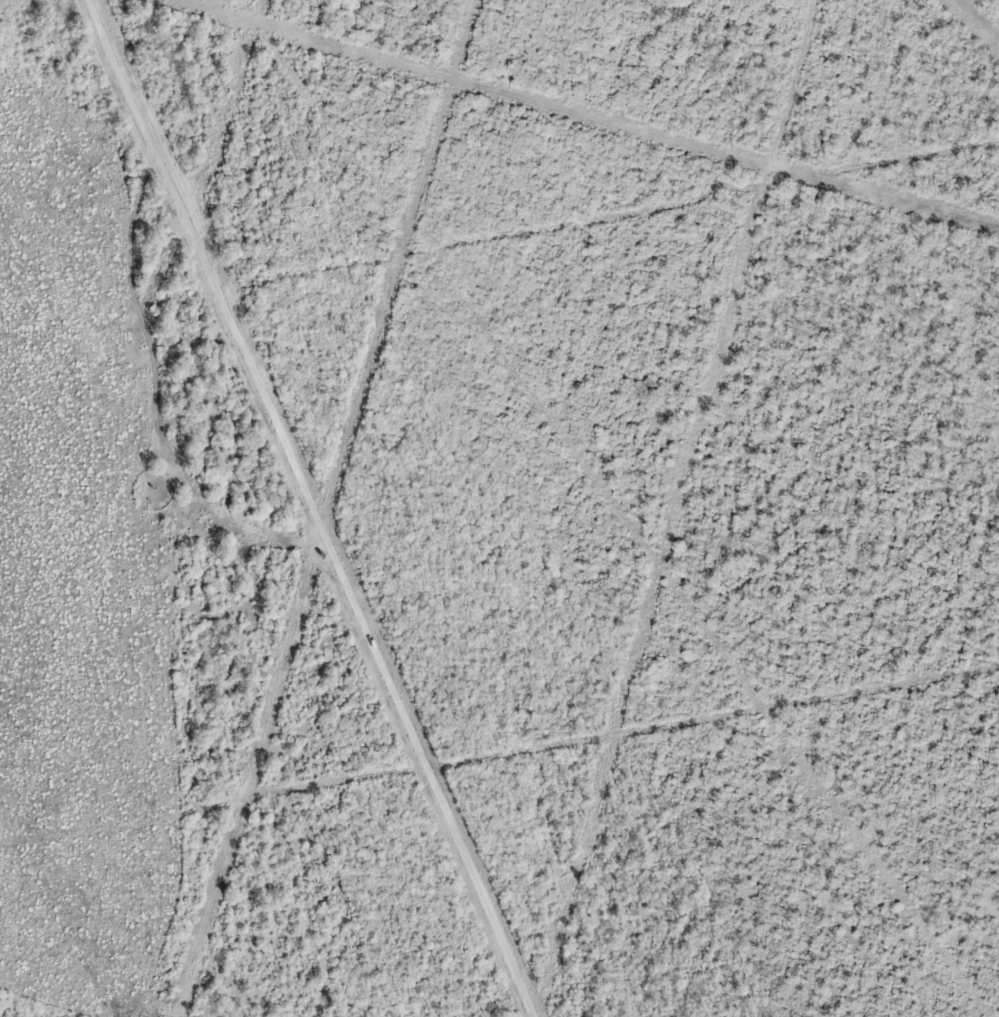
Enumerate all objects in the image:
road: (311, 509)

